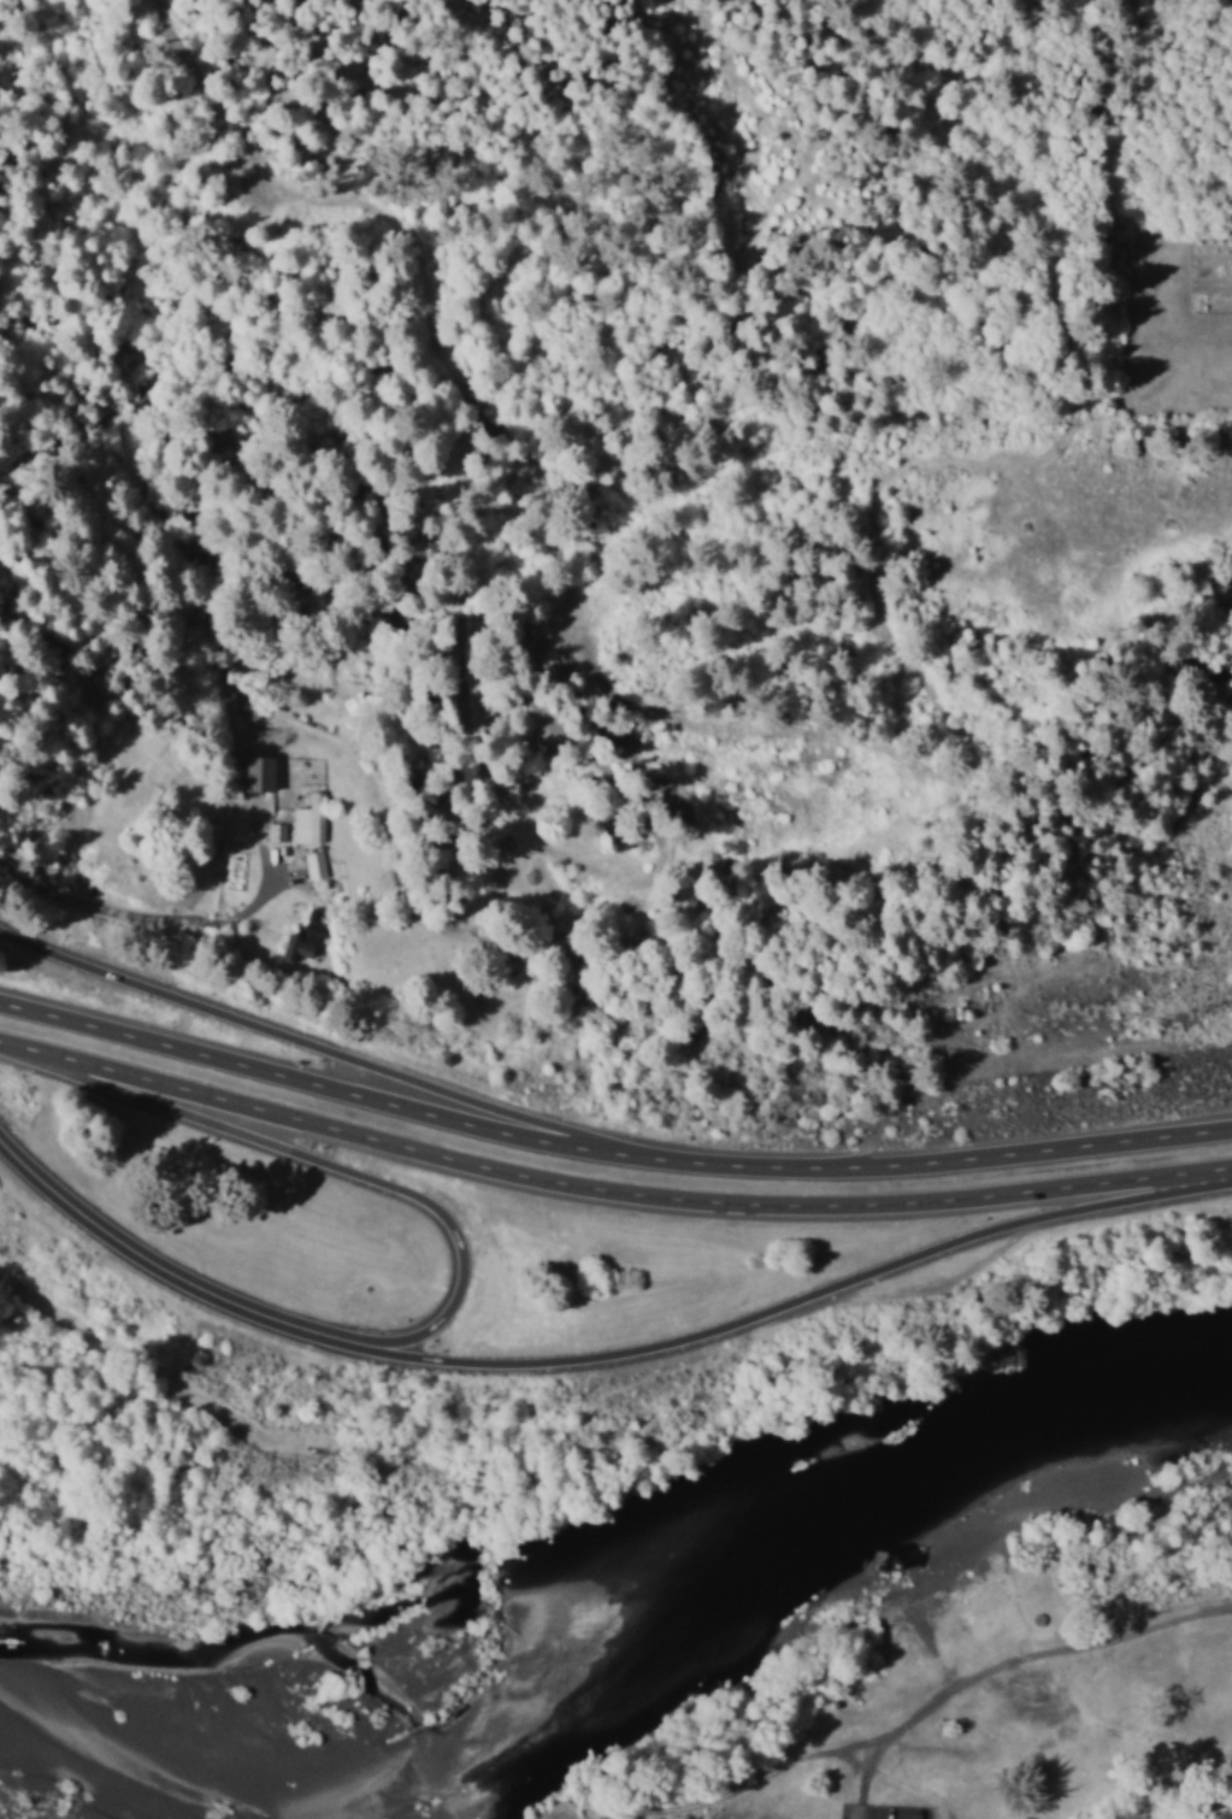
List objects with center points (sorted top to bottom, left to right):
building: (258, 772)
building: (308, 819)
building: (275, 831)
building: (313, 864)
road: (114, 914)
building: (302, 937)
road: (332, 1050)
road: (608, 1149)
road: (338, 1165)
road: (608, 1188)
road: (136, 1254)
road: (770, 1305)
river: (800, 1525)

